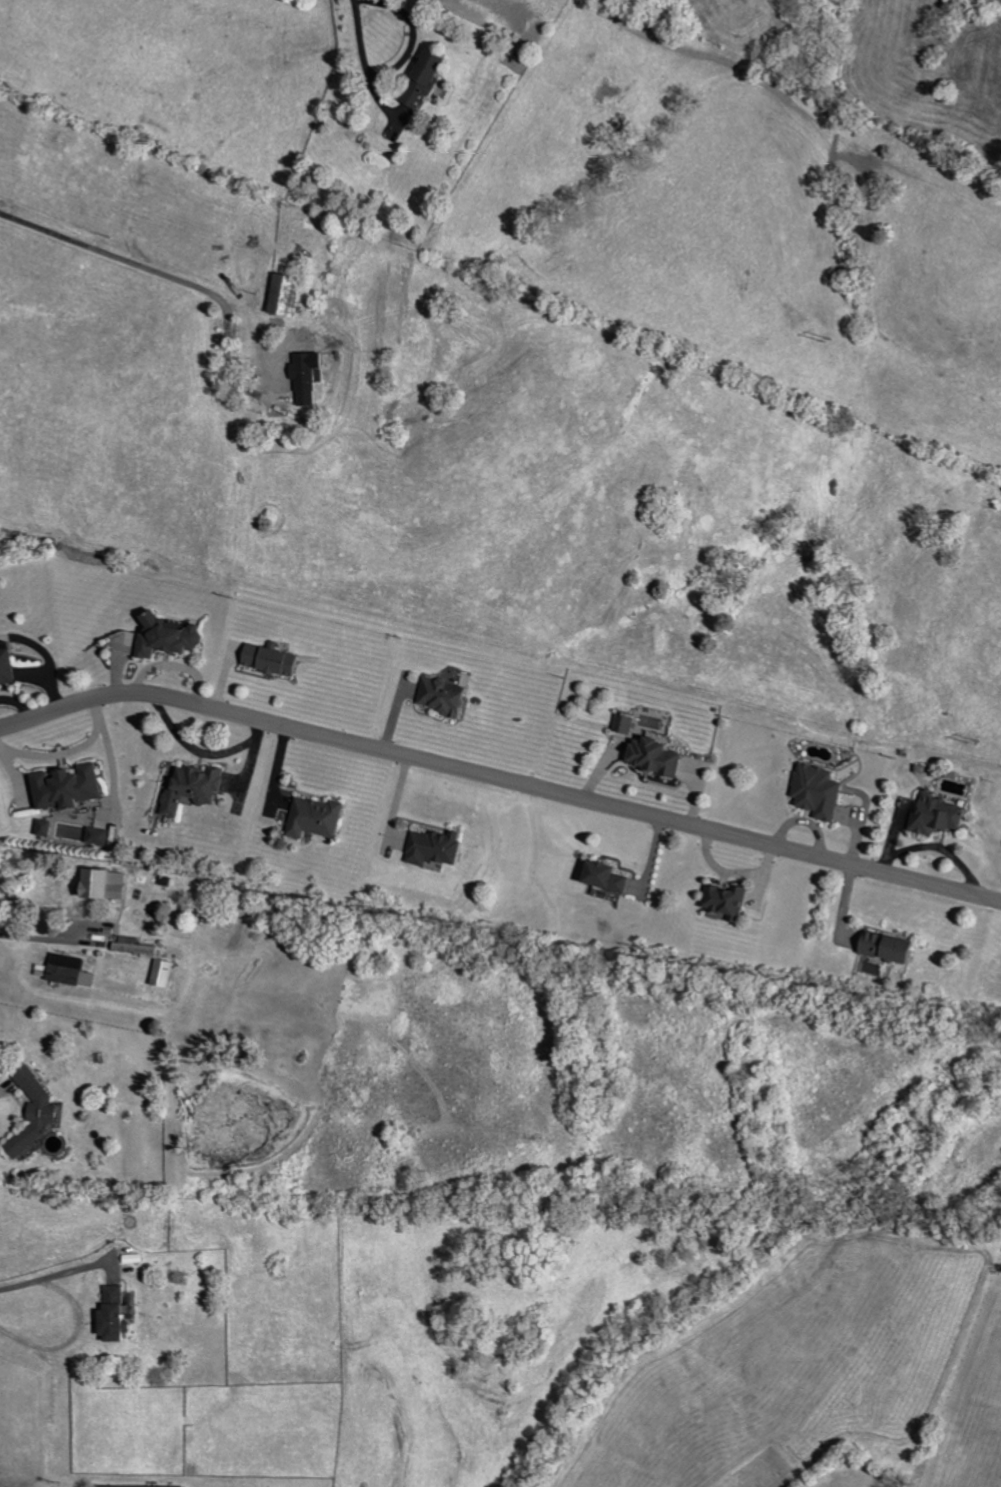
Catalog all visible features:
building: (431, 78)
road: (172, 279)
building: (290, 294)
power tower: (830, 336)
building: (309, 378)
building: (173, 637)
building: (276, 660)
building: (10, 664)
building: (448, 696)
building: (629, 724)
power tower: (975, 740)
road: (67, 752)
building: (660, 756)
road: (501, 779)
building: (73, 787)
building: (194, 788)
building: (824, 791)
building: (942, 815)
building: (320, 818)
building: (103, 835)
building: (440, 847)
building: (613, 877)
building: (112, 884)
building: (731, 899)
road: (35, 936)
building: (138, 946)
building: (897, 948)
building: (167, 973)
building: (51, 1109)
building: (120, 1312)
road: (79, 1316)
building: (149, 1486)

